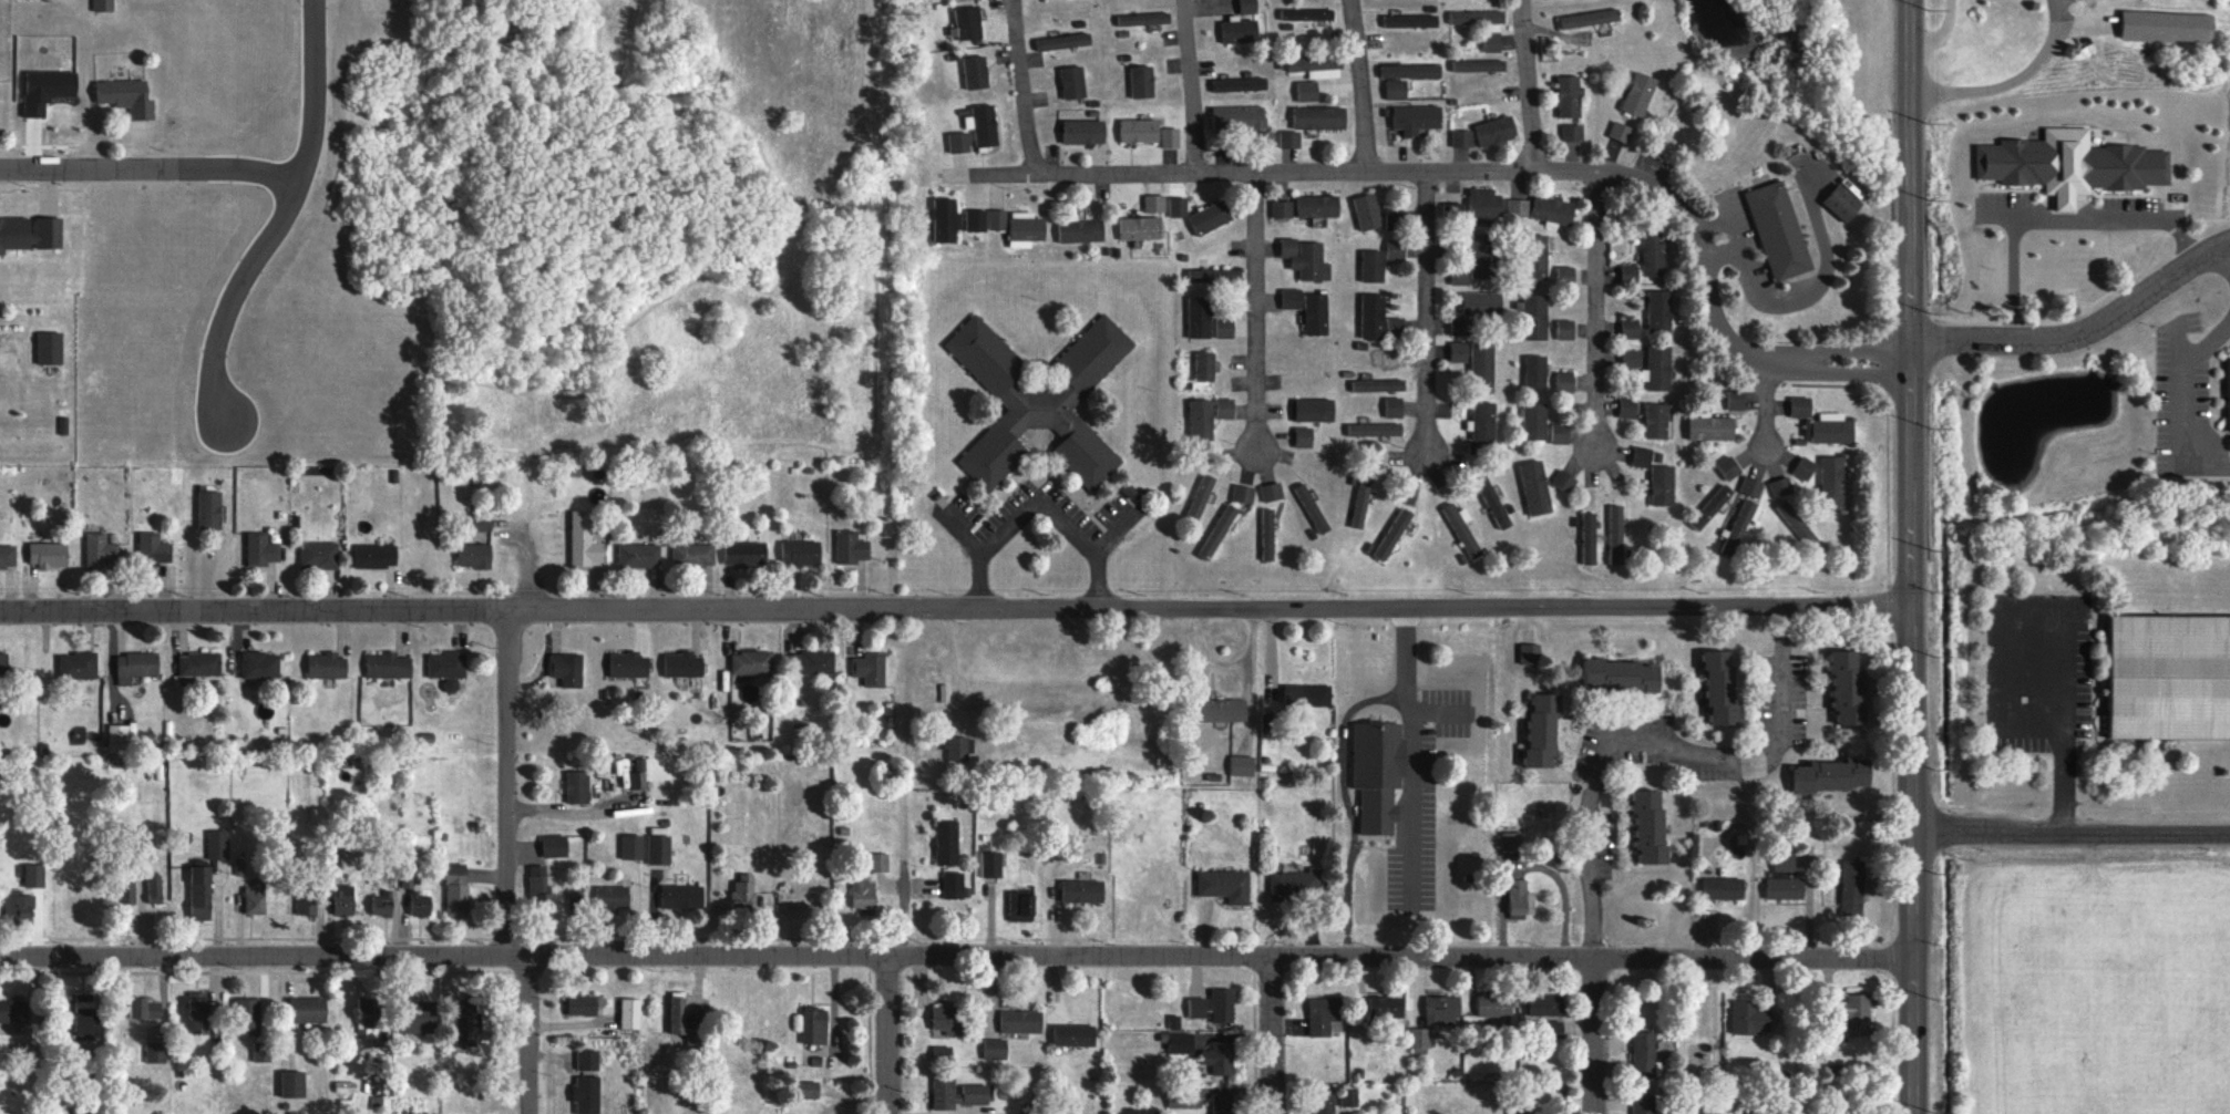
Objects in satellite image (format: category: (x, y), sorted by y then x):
building: (104, 6)
building: (1248, 7)
building: (88, 8)
building: (1309, 16)
building: (1479, 17)
building: (1591, 18)
building: (1145, 19)
building: (1411, 21)
building: (969, 22)
building: (2168, 25)
road: (2084, 28)
building: (1241, 31)
road: (1942, 34)
building: (1065, 41)
building: (1493, 43)
building: (1481, 65)
building: (1318, 66)
building: (1412, 71)
building: (976, 73)
building: (1073, 82)
building: (1143, 82)
building: (1241, 84)
road: (2010, 84)
road: (1192, 89)
building: (1398, 89)
road: (1531, 89)
building: (49, 90)
road: (1364, 90)
building: (1307, 91)
building: (1640, 94)
building: (129, 96)
building: (1569, 96)
building: (1320, 117)
building: (1240, 118)
building: (1418, 118)
building: (984, 125)
building: (1140, 131)
building: (1498, 131)
building: (1086, 132)
building: (1621, 132)
building: (1572, 133)
building: (1170, 138)
building: (1461, 138)
building: (1291, 140)
building: (959, 142)
building: (2074, 165)
road: (143, 171)
road: (1441, 178)
building: (1154, 204)
building: (1842, 204)
building: (1487, 205)
building: (1319, 206)
building: (1178, 207)
building: (1520, 208)
building: (1282, 209)
building: (1826, 209)
building: (1455, 210)
building: (1368, 212)
building: (1553, 212)
building: (1211, 217)
building: (1395, 218)
building: (997, 219)
road: (266, 220)
building: (947, 220)
building: (976, 220)
building: (1141, 228)
building: (1026, 229)
building: (1082, 231)
building: (30, 234)
building: (1760, 238)
building: (1397, 250)
building: (1654, 252)
building: (1539, 255)
building: (1483, 257)
building: (1306, 259)
building: (1373, 267)
building: (1630, 274)
building: (1215, 276)
building: (1566, 276)
building: (1292, 299)
building: (1482, 302)
building: (1659, 311)
building: (1316, 314)
building: (1374, 314)
road: (1599, 316)
building: (1200, 317)
road: (1258, 317)
road: (1426, 317)
building: (1535, 317)
building: (1461, 326)
building: (1630, 327)
building: (1225, 328)
building: (1566, 329)
road: (2084, 337)
building: (51, 347)
building: (1459, 352)
building: (34, 353)
building: (1478, 354)
building: (1633, 357)
building: (1205, 364)
building: (1659, 367)
building: (1535, 370)
building: (1565, 381)
building: (1379, 384)
building: (2229, 394)
building: (1737, 399)
building: (1039, 400)
building: (1800, 405)
building: (1393, 406)
building: (1226, 408)
building: (1627, 408)
building: (1315, 409)
road: (1759, 409)
building: (1201, 419)
building: (1484, 420)
building: (1656, 420)
building: (1535, 421)
building: (1710, 427)
building: (1829, 427)
building: (1374, 430)
building: (1560, 433)
building: (1305, 436)
building: (1643, 456)
building: (1727, 467)
building: (1802, 467)
building: (1562, 479)
building: (1831, 482)
building: (1663, 484)
building: (1750, 485)
building: (1537, 486)
building: (1780, 486)
building: (1271, 491)
building: (1242, 493)
building: (1200, 497)
building: (1491, 503)
building: (1710, 505)
building: (1311, 507)
building: (212, 508)
building: (1790, 517)
building: (484, 523)
building: (1739, 528)
building: (1461, 529)
building: (1217, 530)
building: (1393, 533)
building: (1614, 533)
building: (1266, 534)
building: (1586, 537)
building: (585, 539)
building: (852, 547)
building: (154, 548)
building: (102, 549)
building: (261, 549)
building: (802, 551)
building: (50, 554)
building: (695, 554)
building: (747, 554)
building: (320, 555)
building: (377, 555)
building: (476, 555)
building: (640, 555)
building: (8, 556)
road: (1911, 556)
road: (955, 608)
building: (1529, 652)
building: (818, 661)
building: (4, 662)
building: (753, 662)
building: (201, 663)
building: (79, 664)
building: (261, 664)
building: (328, 664)
building: (390, 664)
building: (629, 664)
building: (685, 664)
building: (137, 666)
building: (449, 668)
building: (568, 669)
building: (871, 669)
building: (1620, 673)
building: (2164, 683)
building: (1850, 684)
building: (1724, 687)
building: (1308, 694)
building: (1224, 710)
building: (1545, 728)
building: (119, 737)
building: (959, 747)
building: (1243, 765)
building: (1379, 773)
road: (1591, 773)
building: (1832, 775)
building: (639, 780)
building: (578, 786)
building: (1653, 823)
road: (2069, 833)
building: (948, 842)
building: (1512, 842)
building: (218, 844)
building: (556, 845)
building: (633, 846)
building: (659, 848)
building: (881, 862)
building: (1784, 862)
building: (993, 864)
road: (506, 866)
building: (33, 874)
building: (1293, 884)
building: (541, 885)
building: (1226, 885)
building: (1723, 887)
building: (155, 888)
building: (956, 888)
building: (1785, 888)
building: (1852, 888)
building: (458, 889)
building: (1085, 890)
building: (202, 893)
building: (744, 893)
building: (863, 893)
building: (613, 896)
building: (684, 896)
building: (255, 897)
building: (1521, 899)
building: (345, 900)
building: (576, 900)
building: (307, 902)
building: (382, 904)
building: (420, 904)
building: (19, 906)
building: (1024, 906)
road: (956, 958)
building: (584, 1004)
building: (1213, 1005)
building: (1497, 1005)
building: (147, 1007)
building: (1387, 1007)
building: (310, 1009)
building: (1445, 1010)
building: (1549, 1010)
building: (13, 1011)
building: (199, 1011)
building: (86, 1013)
building: (368, 1013)
building: (631, 1013)
building: (1325, 1014)
building: (1859, 1015)
building: (248, 1017)
building: (1751, 1017)
building: (423, 1018)
building: (952, 1019)
building: (685, 1021)
building: (1021, 1021)
building: (469, 1022)
building: (815, 1027)
building: (1076, 1034)
road: (883, 1035)
road: (1268, 1036)
building: (1421, 1038)
building: (1665, 1046)
building: (996, 1049)
building: (263, 1051)
building: (156, 1052)
building: (1645, 1054)
building: (1220, 1058)
building: (588, 1060)
building: (295, 1083)
building: (345, 1086)
building: (811, 1090)
building: (957, 1093)
building: (587, 1095)
building: (1350, 1096)
building: (1223, 1103)
building: (1328, 1103)
building: (1645, 1104)

